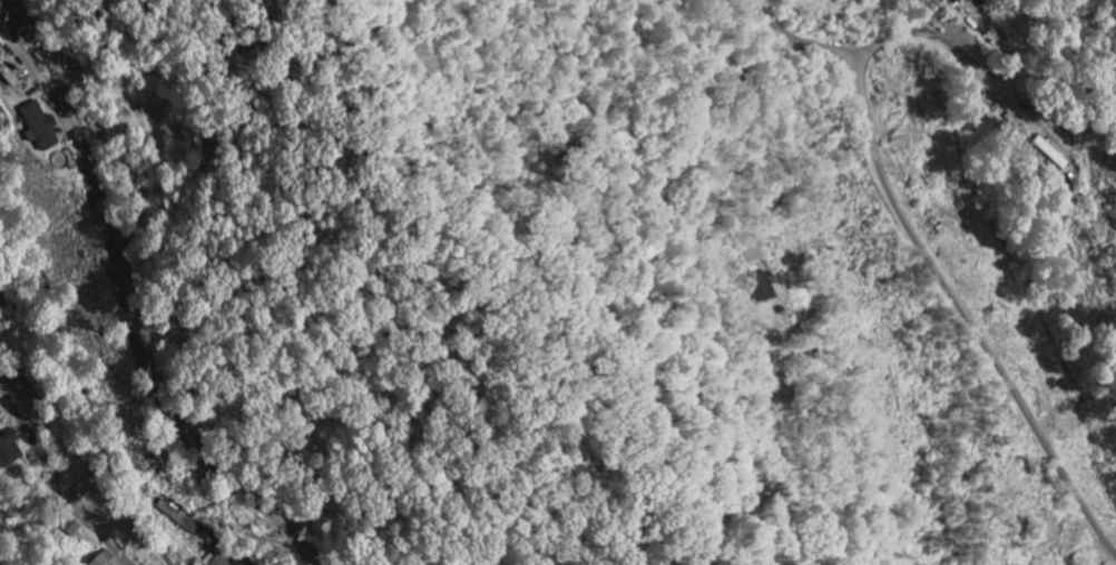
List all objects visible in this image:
building: (952, 2)
road: (940, 43)
building: (38, 128)
road: (928, 260)
building: (761, 289)
road: (156, 389)
road: (88, 397)
building: (9, 450)
building: (177, 517)
road: (106, 539)
building: (218, 561)

